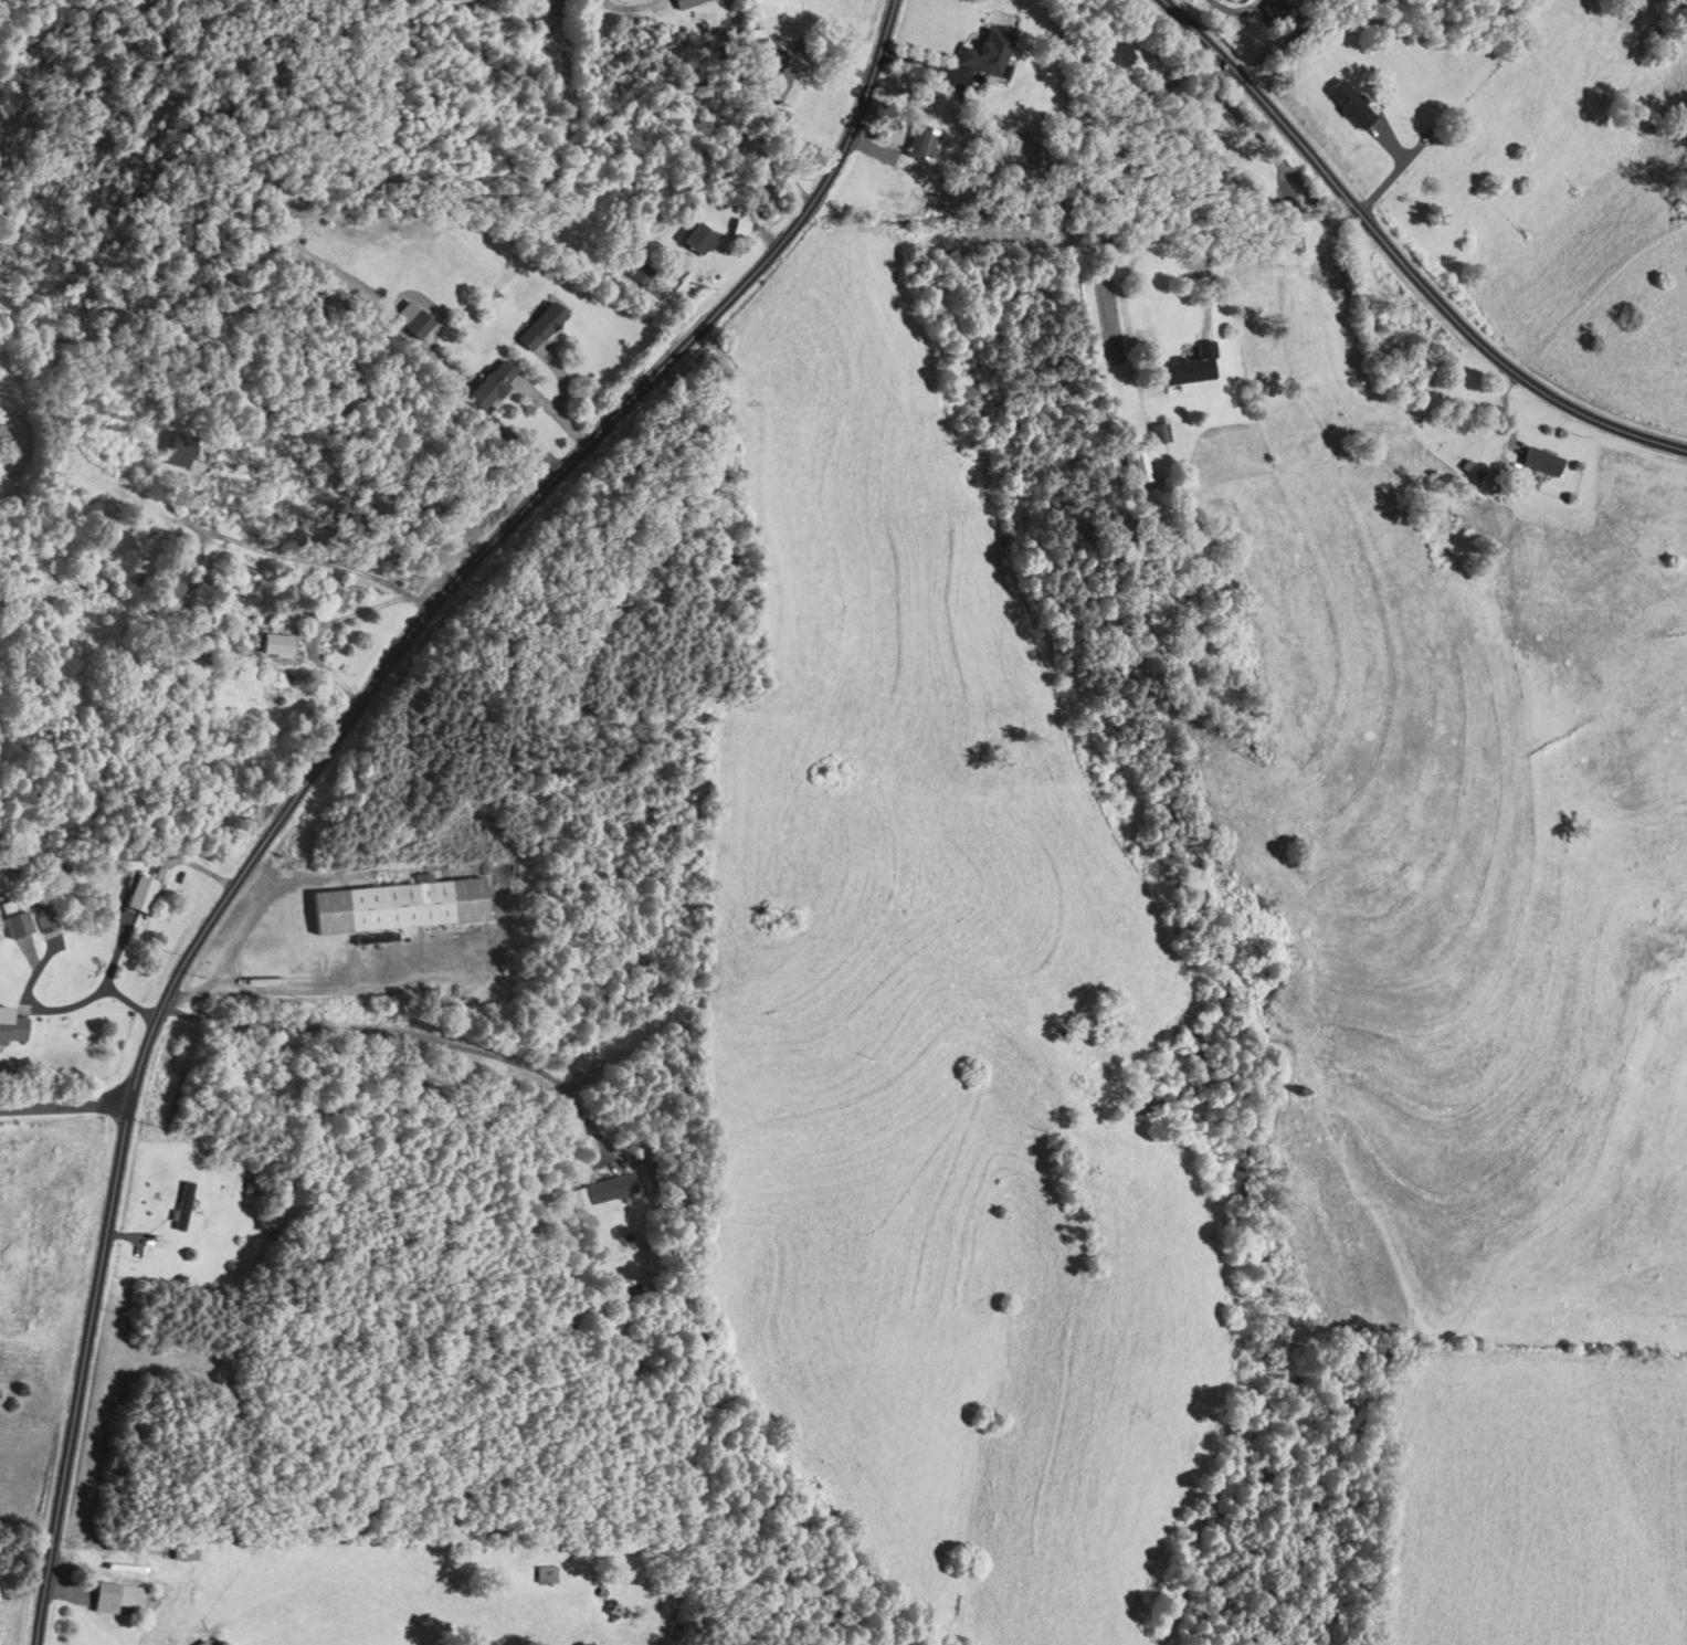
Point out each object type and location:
building: (687, 3)
building: (1276, 9)
building: (757, 50)
building: (985, 54)
building: (1119, 57)
building: (783, 86)
building: (1349, 104)
building: (920, 143)
building: (1054, 167)
building: (1294, 226)
building: (698, 240)
road: (1399, 260)
building: (641, 275)
building: (417, 326)
building: (1189, 367)
building: (489, 386)
road: (551, 412)
road: (288, 415)
building: (1158, 434)
building: (10, 436)
building: (179, 450)
building: (1540, 462)
building: (1135, 467)
road: (286, 555)
building: (176, 584)
building: (337, 598)
building: (277, 643)
road: (326, 751)
road: (203, 869)
building: (144, 893)
building: (397, 907)
building: (42, 910)
building: (14, 922)
road: (116, 953)
road: (101, 990)
road: (254, 990)
building: (11, 1032)
road: (408, 1035)
building: (1139, 1103)
road: (65, 1105)
building: (613, 1194)
building: (182, 1208)
building: (182, 1554)
building: (544, 1574)
building: (113, 1599)
building: (199, 1643)

